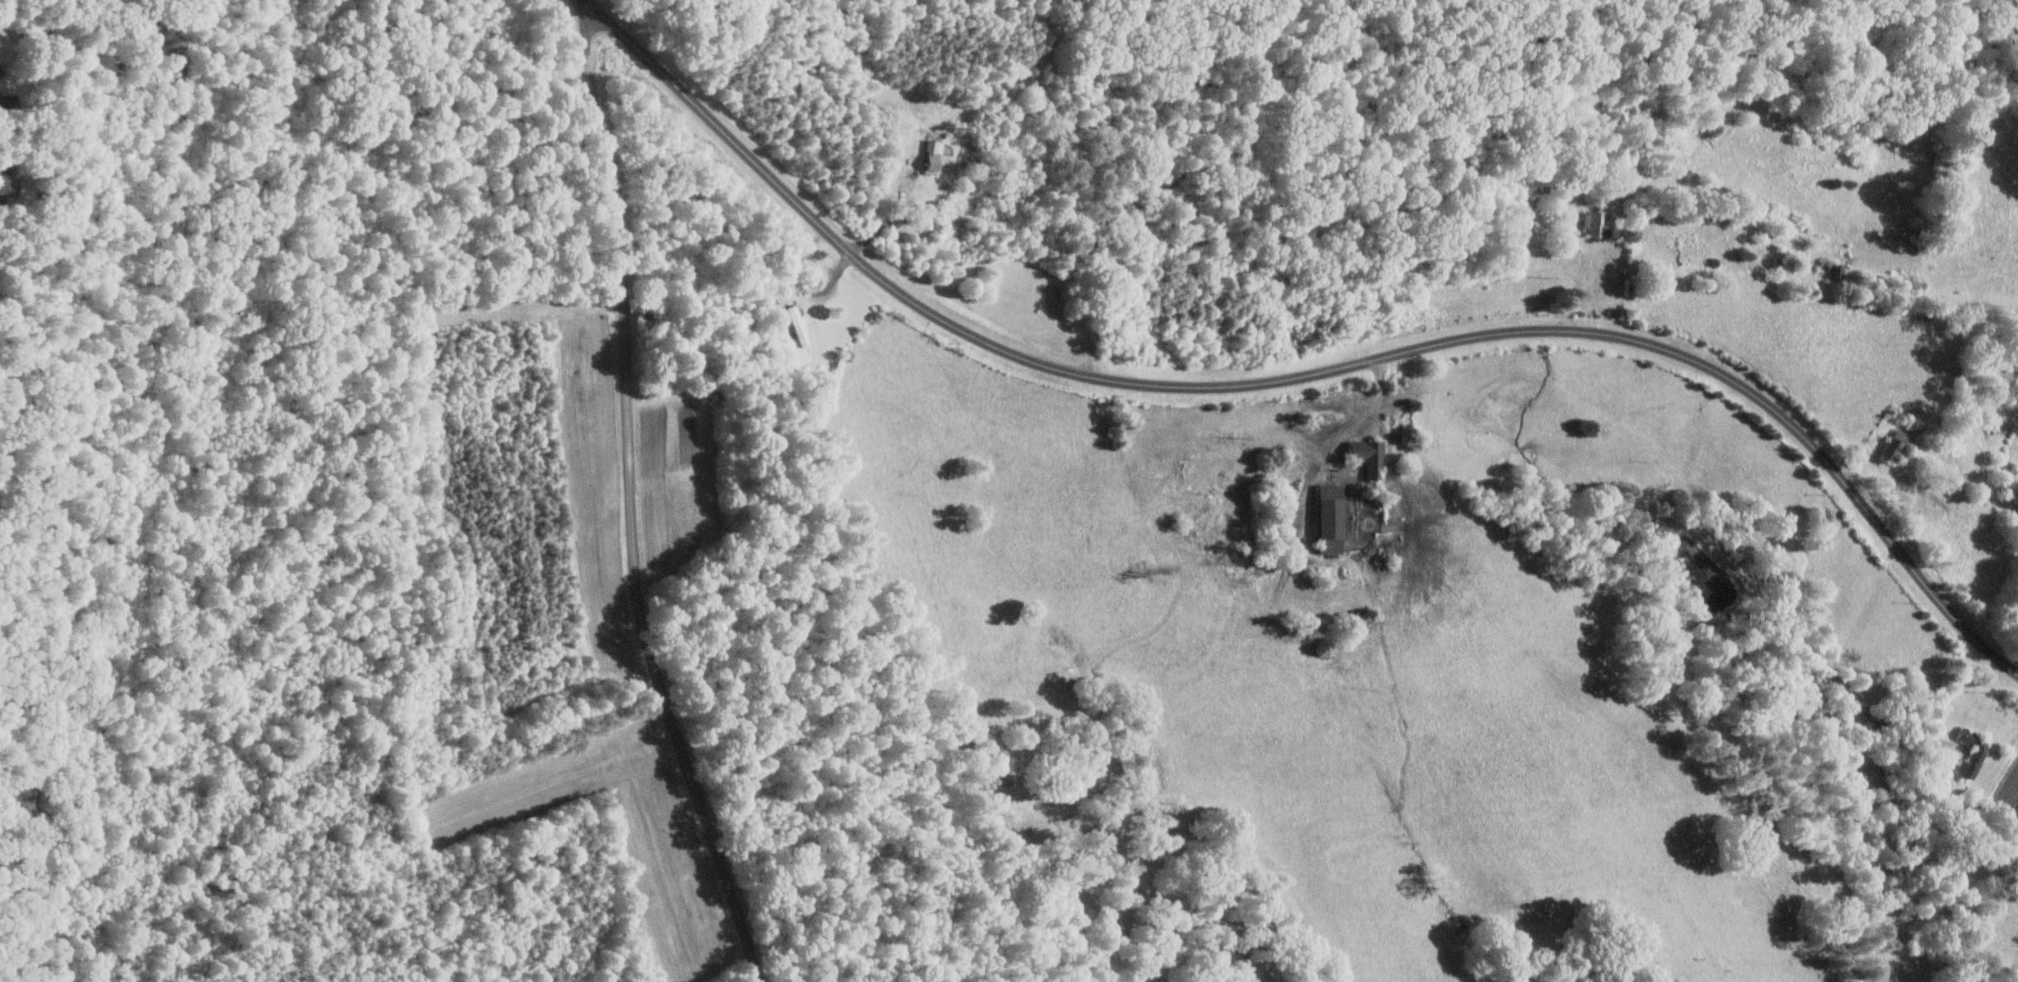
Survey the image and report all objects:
building: (931, 156)
building: (3, 178)
road: (887, 221)
building: (1597, 222)
road: (1600, 277)
building: (797, 324)
road: (1305, 374)
building: (1897, 444)
building: (1367, 454)
road: (632, 500)
building: (1329, 518)
park: (34, 594)
building: (1972, 752)

